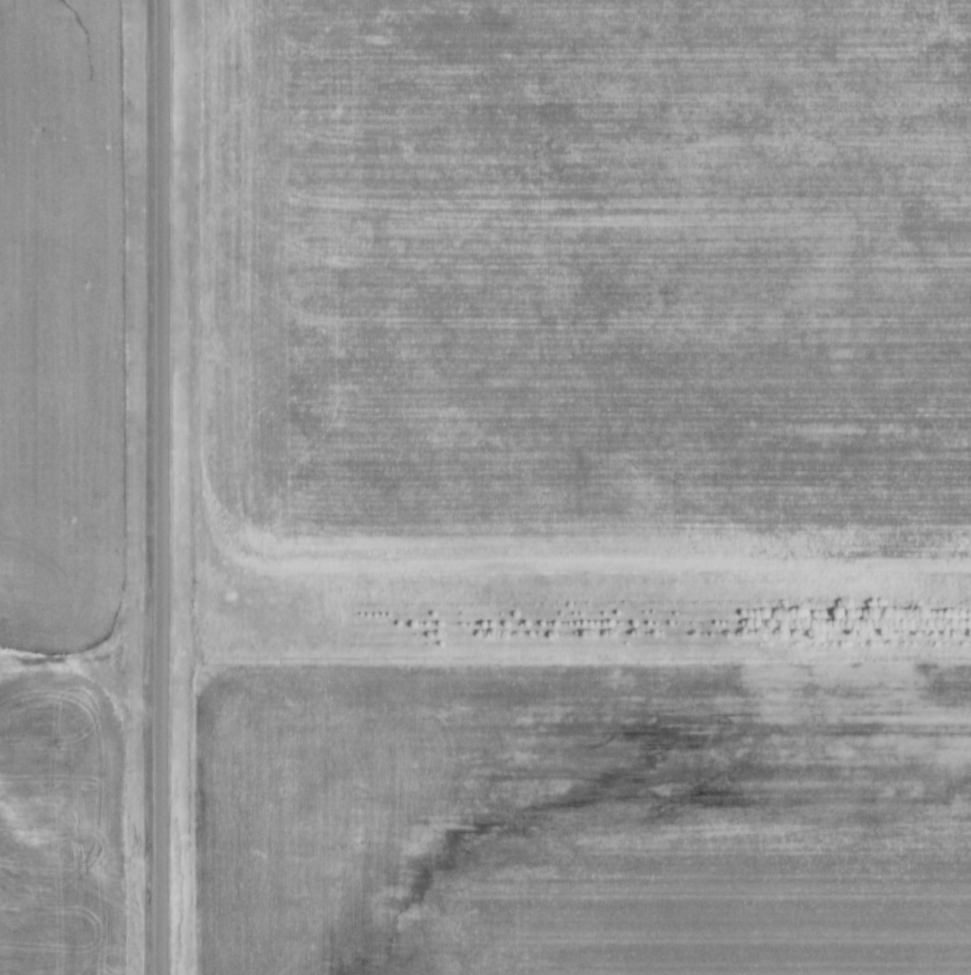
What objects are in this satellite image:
road: (161, 487)

